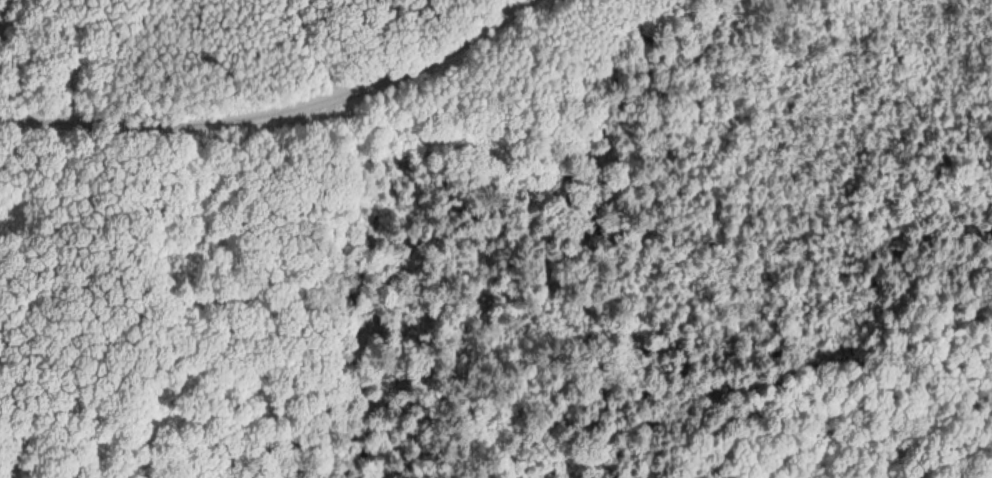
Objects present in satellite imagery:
road: (256, 101)

